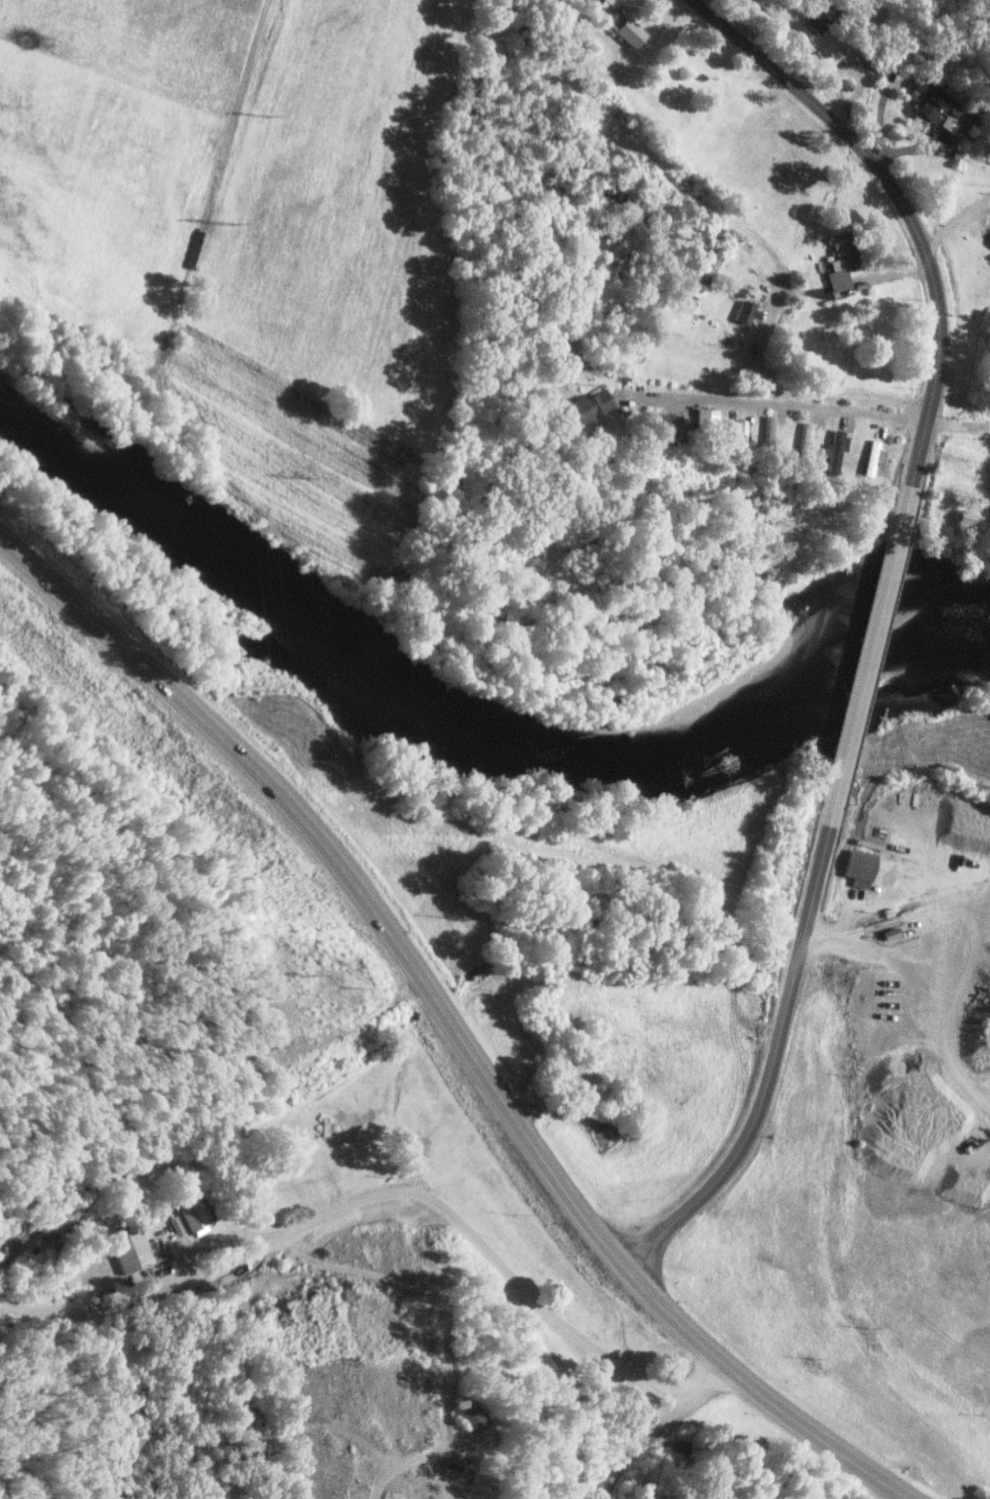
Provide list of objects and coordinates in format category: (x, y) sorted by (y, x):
building: (613, 3)
building: (817, 14)
building: (630, 32)
building: (944, 106)
road: (905, 205)
building: (842, 266)
road: (801, 291)
building: (746, 313)
road: (761, 369)
building: (588, 406)
road: (806, 411)
building: (704, 420)
building: (771, 427)
building: (873, 453)
building: (965, 521)
road: (870, 649)
river: (454, 721)
building: (858, 864)
road: (344, 871)
road: (771, 1057)
road: (337, 1208)
building: (192, 1210)
building: (131, 1248)
road: (97, 1305)
road: (596, 1354)
road: (759, 1390)
building: (469, 1413)

